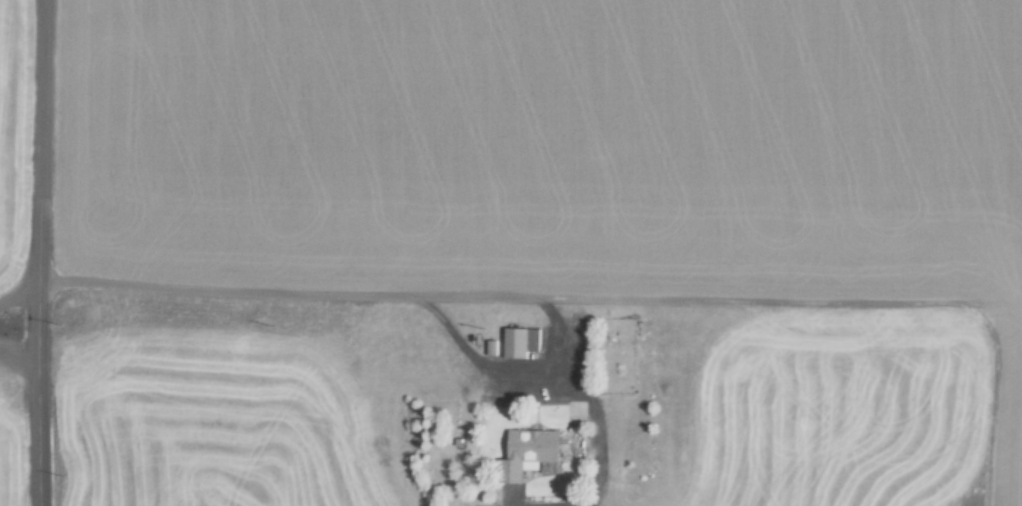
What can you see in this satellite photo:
road: (44, 103)
building: (522, 342)
road: (43, 356)
building: (528, 455)

